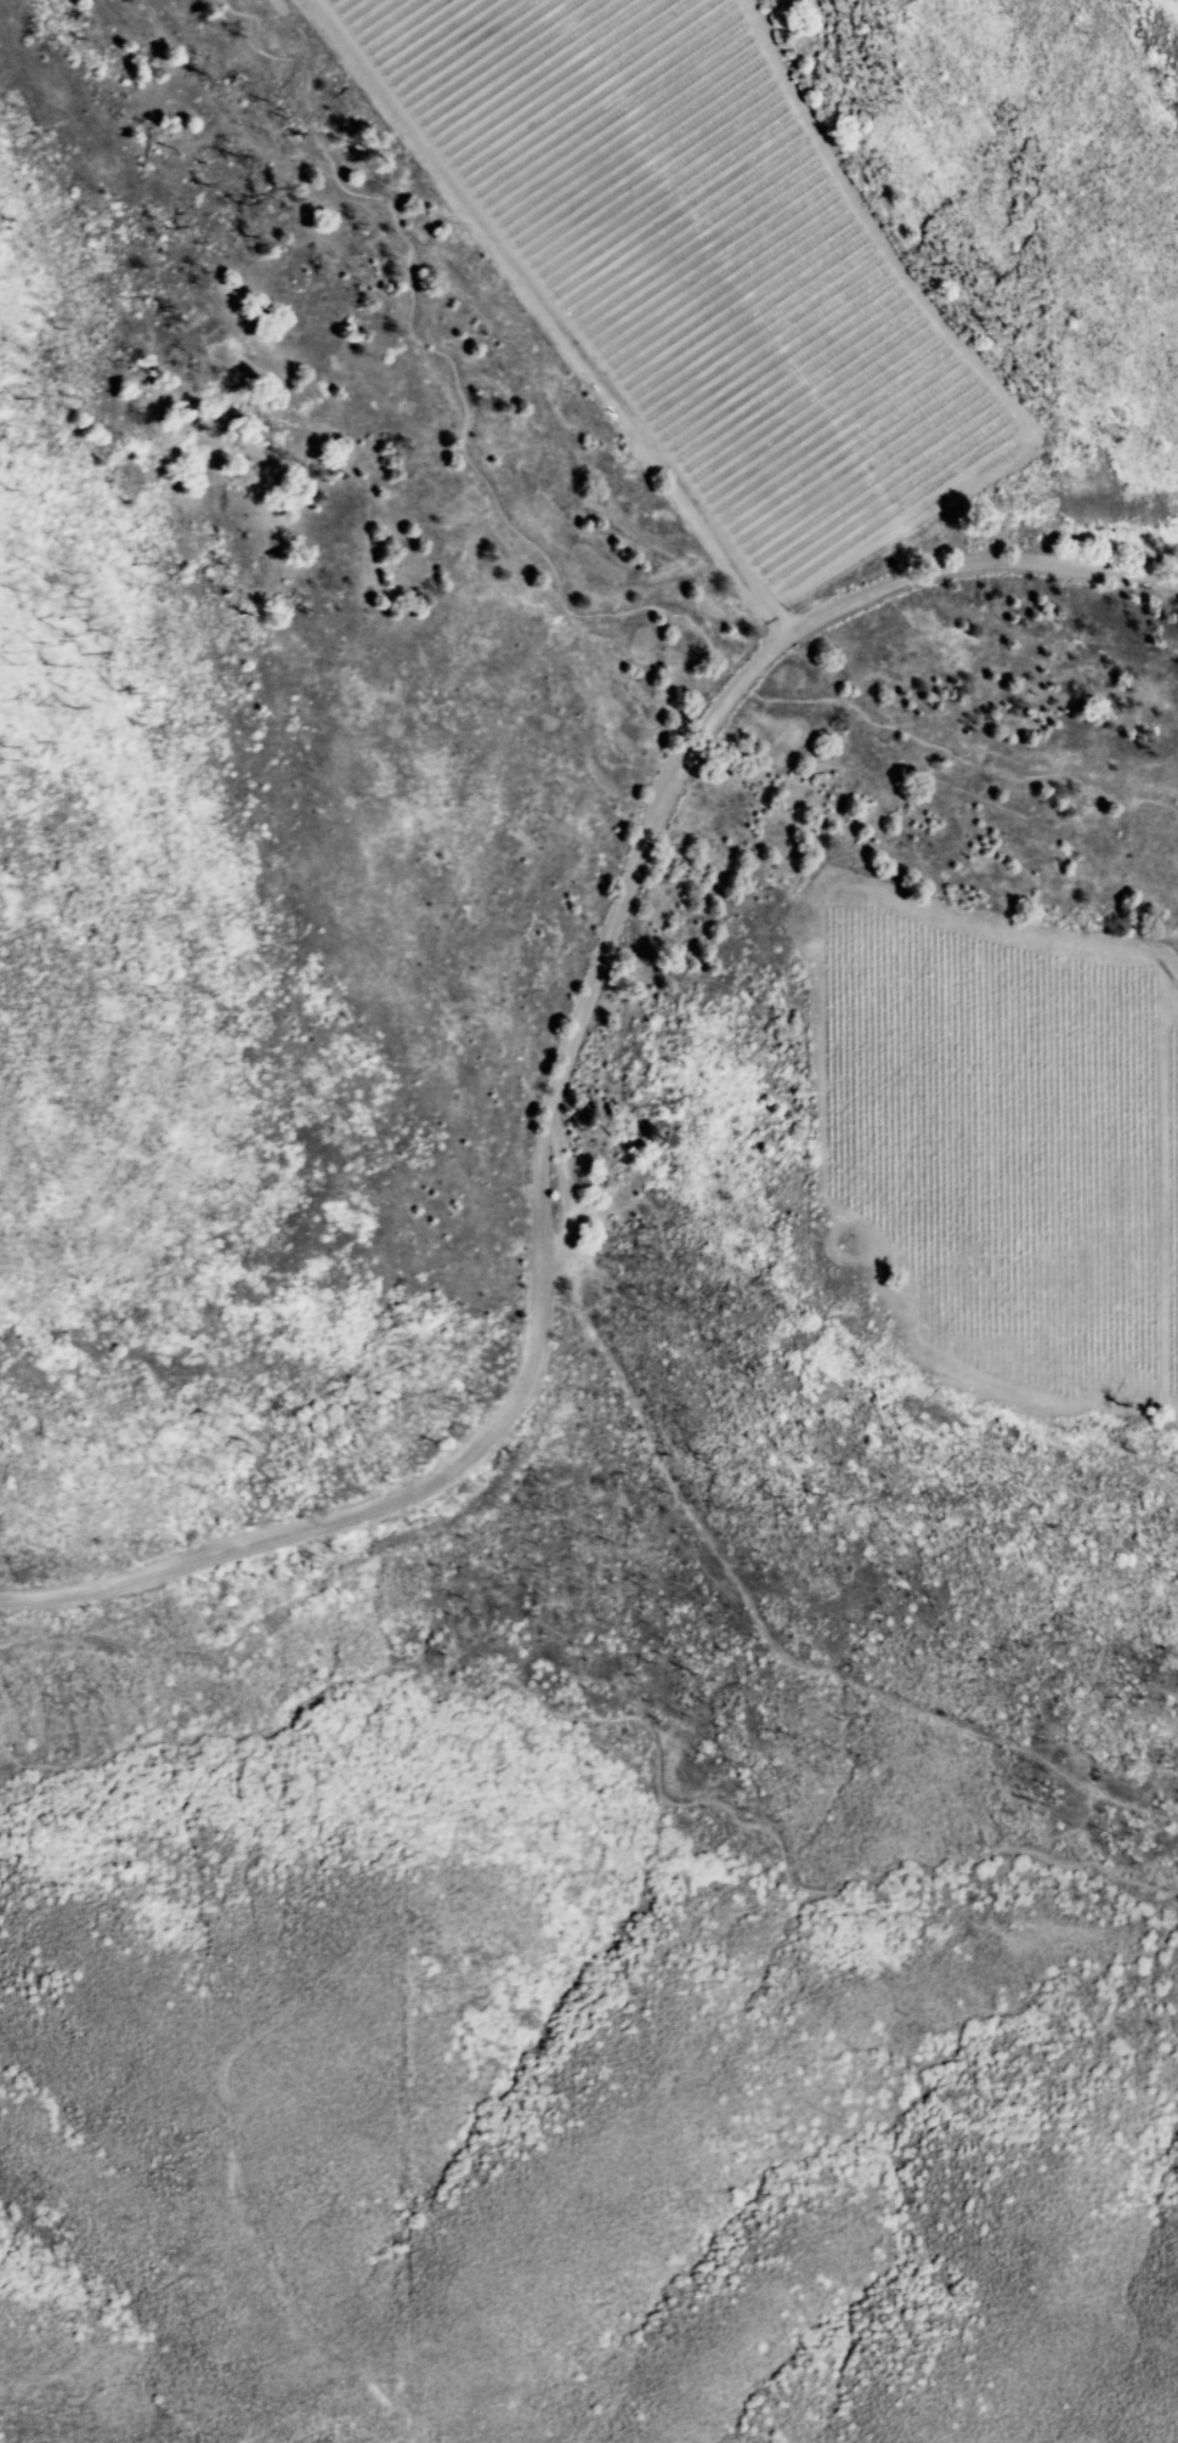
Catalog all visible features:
road: (502, 290)
road: (562, 1071)
road: (1174, 1827)
road: (339, 2428)

